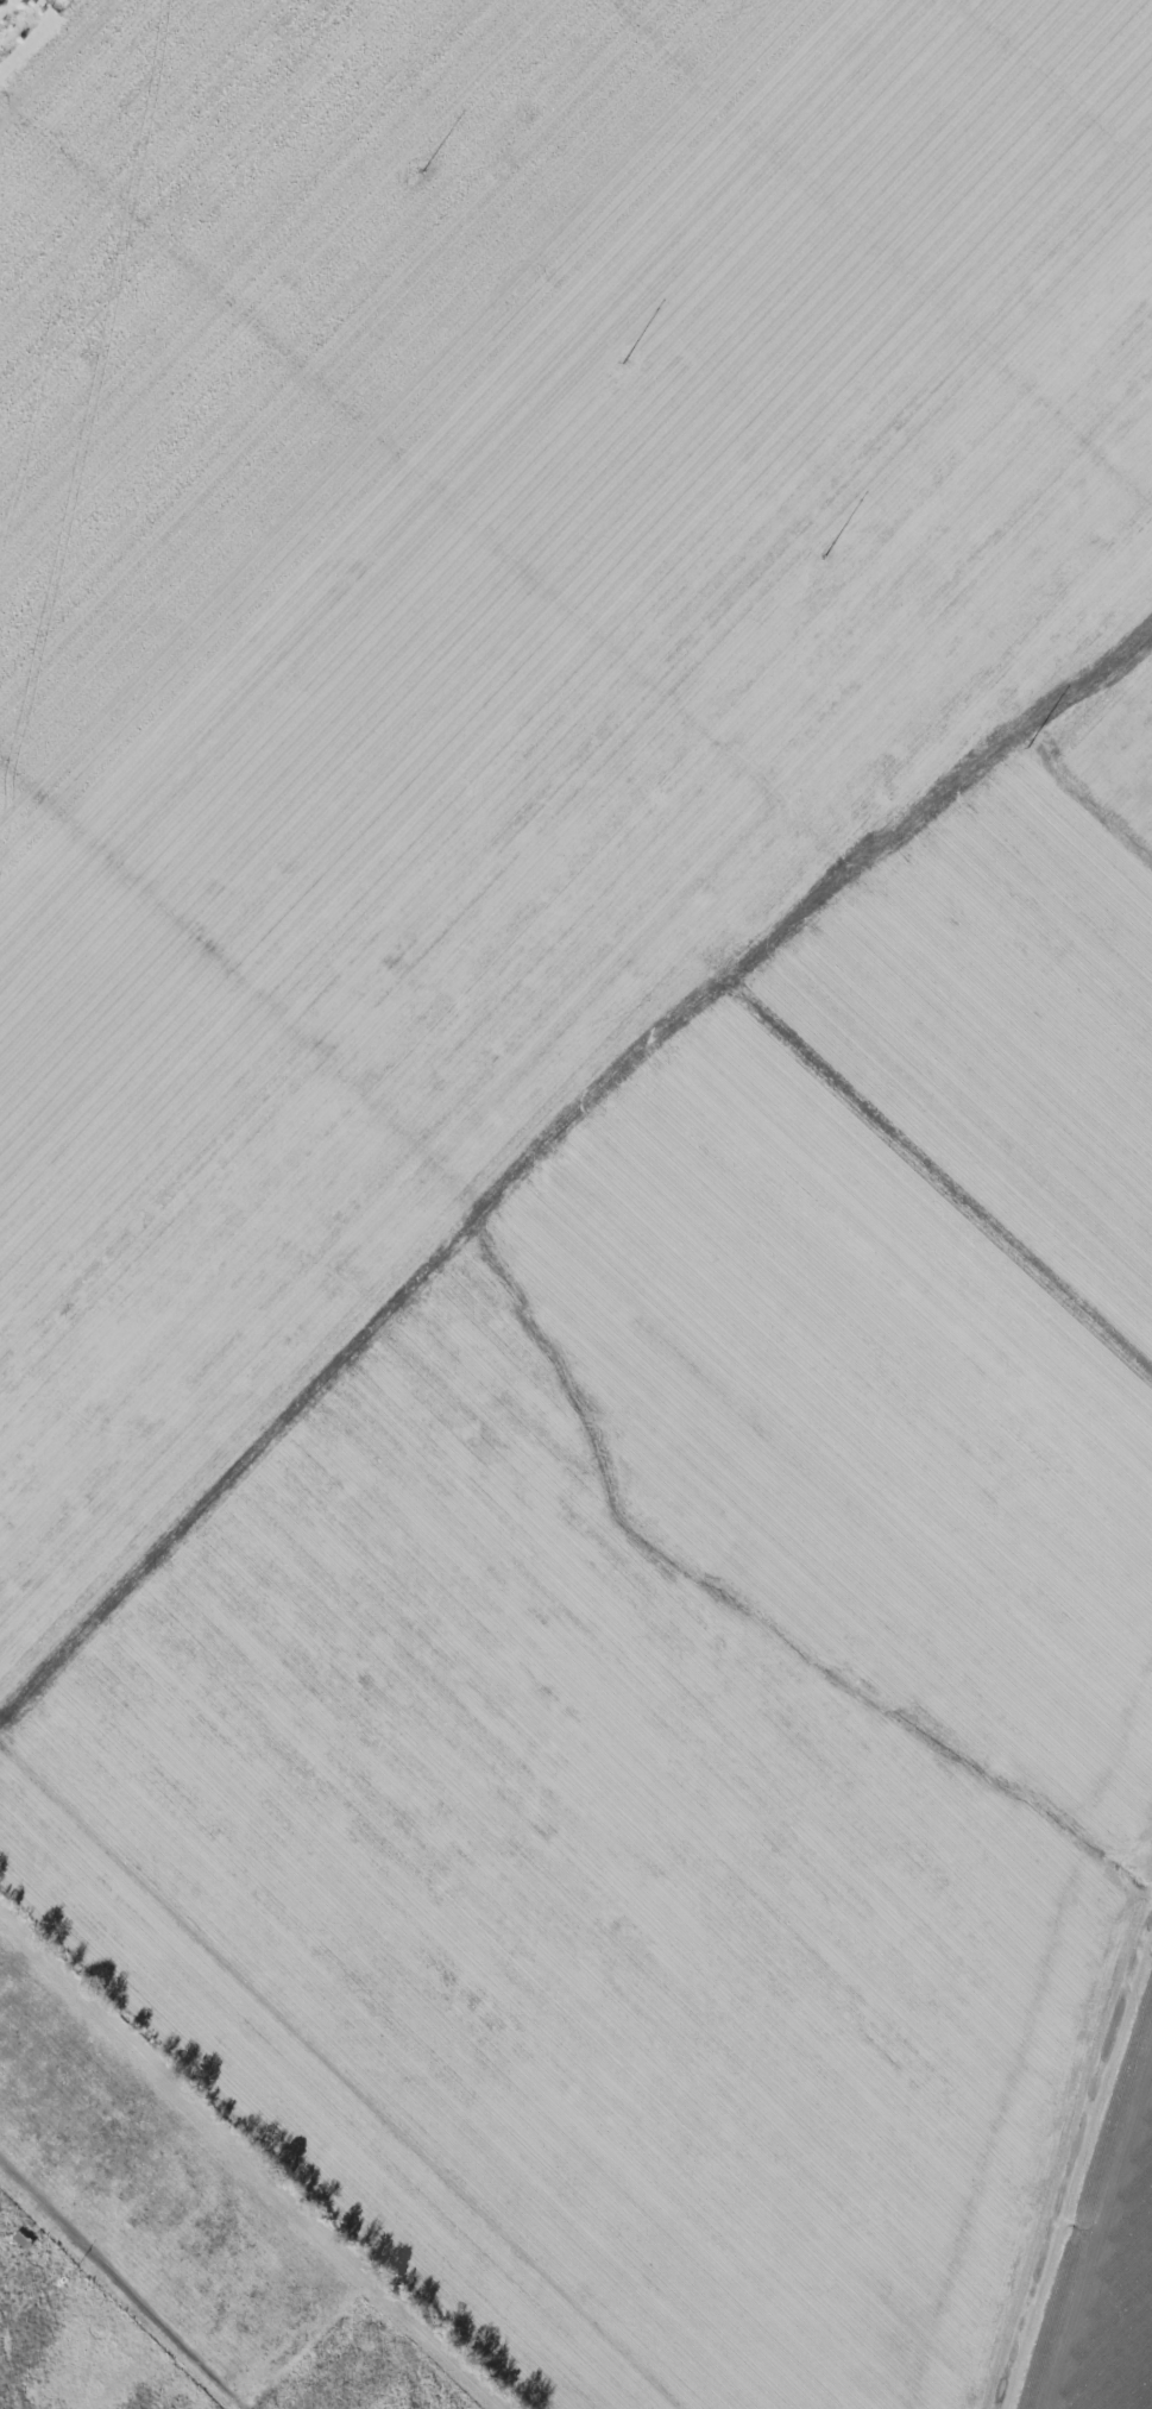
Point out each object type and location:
road: (45, 48)
road: (257, 2156)

